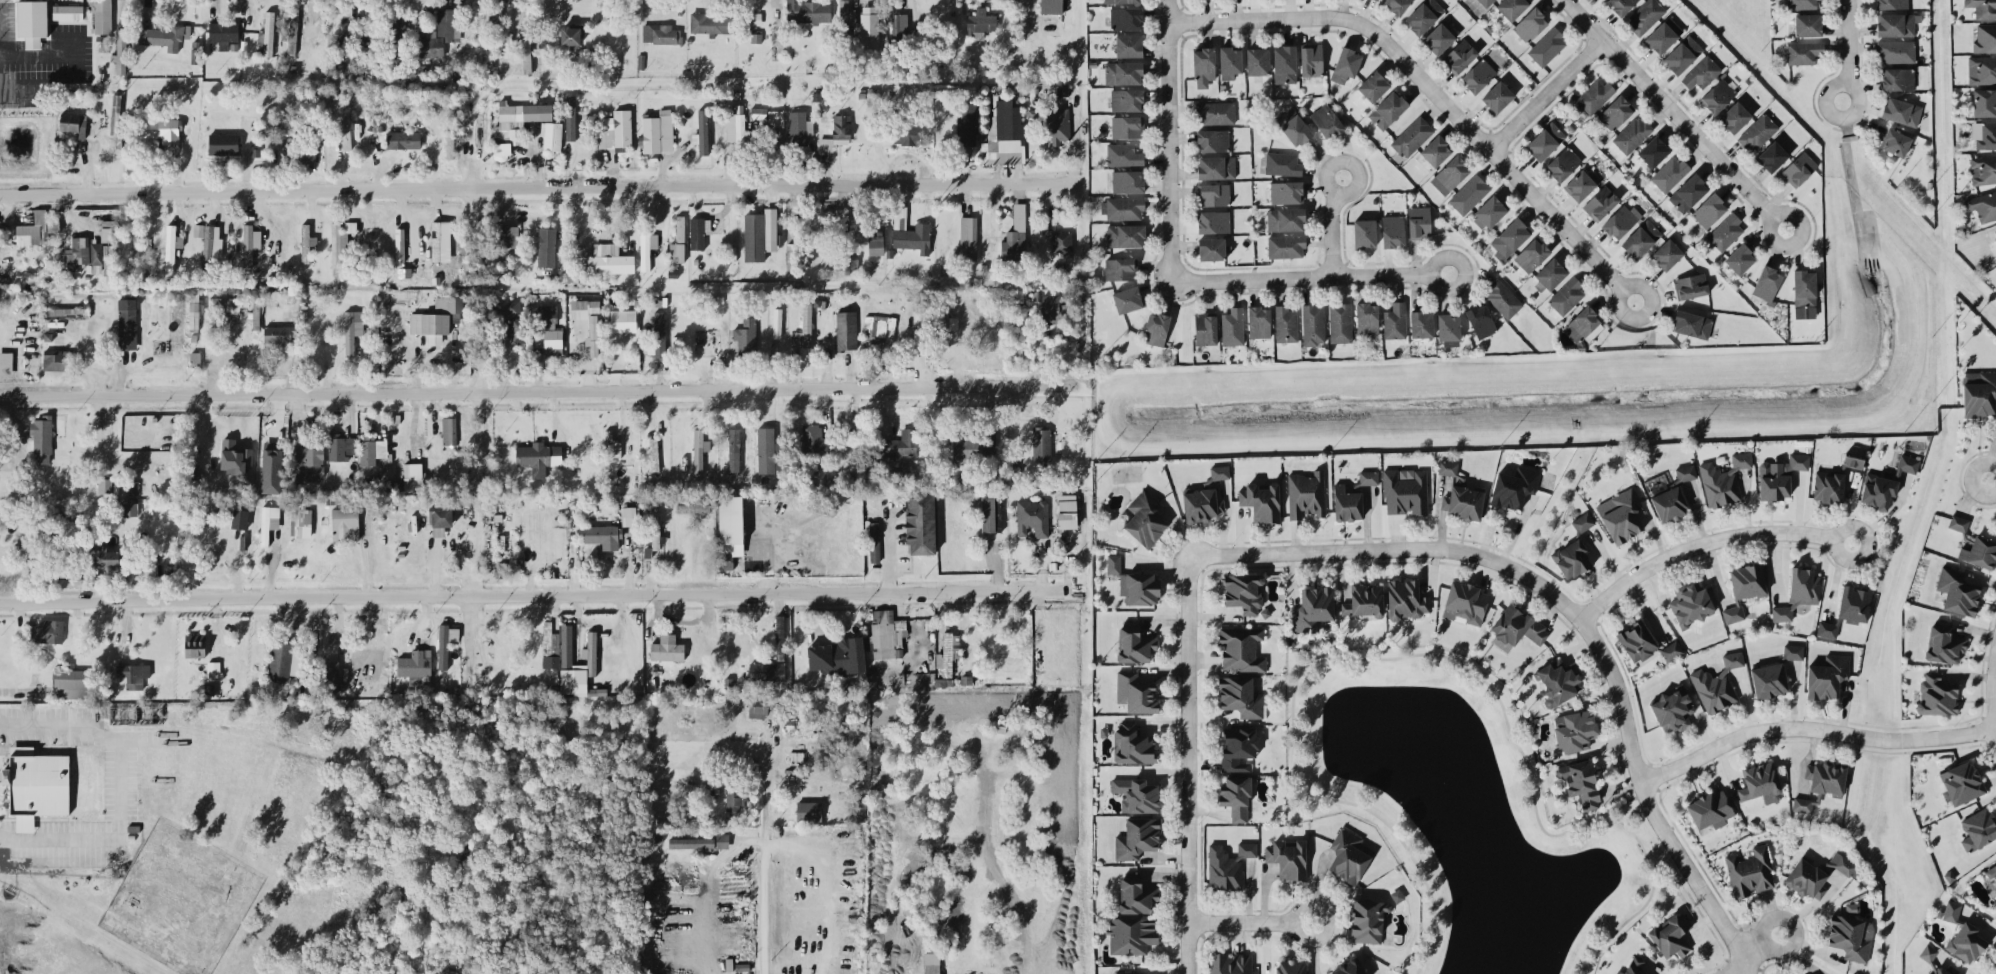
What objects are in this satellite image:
building: (1121, 1)
building: (1486, 2)
building: (1800, 4)
building: (1892, 4)
building: (1397, 5)
building: (1621, 5)
building: (1051, 6)
building: (1511, 7)
building: (1982, 8)
building: (69, 11)
building: (807, 11)
building: (495, 13)
building: (847, 13)
building: (1423, 15)
building: (102, 16)
building: (1645, 16)
building: (754, 17)
building: (1125, 18)
building: (32, 21)
building: (980, 21)
park: (1745, 22)
building: (708, 23)
building: (1896, 23)
building: (1530, 24)
building: (1807, 24)
building: (299, 25)
building: (899, 25)
building: (869, 27)
building: (268, 33)
building: (660, 33)
building: (437, 34)
building: (223, 35)
building: (571, 35)
building: (1663, 35)
building: (164, 36)
building: (394, 38)
building: (1438, 38)
building: (1985, 38)
building: (103, 42)
building: (1129, 45)
building: (1547, 46)
road: (1846, 50)
building: (120, 51)
building: (1895, 51)
building: (361, 52)
building: (1803, 52)
building: (1682, 54)
building: (1459, 56)
building: (1311, 59)
building: (1229, 61)
building: (1257, 61)
building: (1347, 61)
building: (1284, 63)
building: (1203, 66)
building: (1981, 69)
building: (1701, 72)
building: (1120, 73)
building: (1478, 75)
building: (1897, 78)
building: (1373, 85)
road: (1429, 93)
road: (1542, 95)
building: (1594, 95)
building: (1717, 95)
building: (1497, 96)
building: (1126, 99)
building: (1984, 102)
building: (1387, 109)
building: (1901, 111)
building: (758, 112)
building: (1215, 112)
building: (1615, 112)
road: (1673, 113)
building: (1734, 116)
building: (519, 118)
building: (1326, 120)
building: (361, 122)
building: (73, 123)
building: (966, 123)
building: (1293, 125)
building: (734, 126)
building: (840, 126)
building: (1126, 126)
building: (776, 127)
building: (798, 127)
building: (162, 128)
building: (615, 129)
building: (1054, 129)
building: (305, 131)
building: (657, 131)
building: (701, 132)
building: (1757, 132)
building: (345, 133)
building: (910, 133)
building: (1632, 134)
building: (552, 135)
building: (1004, 135)
building: (1984, 135)
building: (1412, 136)
building: (402, 139)
road: (1166, 140)
building: (1212, 140)
building: (1545, 140)
building: (1895, 141)
building: (223, 143)
building: (825, 144)
building: (502, 148)
building: (1435, 150)
building: (1653, 151)
building: (301, 154)
building: (1123, 154)
building: (1772, 156)
building: (1282, 163)
building: (1562, 163)
building: (1216, 167)
building: (1799, 168)
building: (1983, 169)
building: (1669, 173)
building: (1450, 174)
building: (1127, 181)
building: (1581, 184)
road: (539, 187)
building: (1286, 192)
building: (1688, 192)
building: (1213, 194)
building: (1469, 194)
building: (1600, 202)
building: (1983, 205)
building: (1122, 208)
building: (1709, 210)
building: (1488, 212)
building: (1285, 219)
building: (1620, 220)
building: (1213, 221)
building: (1419, 221)
building: (707, 225)
road: (1330, 225)
building: (38, 227)
building: (679, 228)
building: (108, 230)
building: (1392, 230)
building: (1995, 230)
building: (1725, 231)
building: (696, 232)
building: (1364, 232)
building: (759, 234)
building: (510, 235)
building: (911, 235)
building: (1015, 235)
building: (1125, 235)
building: (967, 237)
building: (1509, 238)
building: (1641, 238)
building: (435, 240)
building: (306, 241)
building: (1061, 241)
building: (208, 242)
building: (136, 243)
building: (249, 243)
building: (875, 243)
building: (339, 244)
building: (171, 245)
building: (546, 246)
building: (1286, 246)
building: (1211, 248)
building: (646, 249)
building: (77, 250)
building: (676, 251)
building: (1531, 254)
building: (1666, 254)
building: (102, 256)
building: (610, 258)
building: (1740, 258)
building: (1120, 268)
building: (1550, 273)
road: (1307, 276)
building: (1766, 283)
building: (1690, 285)
building: (1804, 288)
building: (1566, 295)
building: (1502, 298)
building: (1127, 299)
building: (231, 304)
building: (509, 307)
building: (583, 307)
building: (194, 308)
building: (1050, 308)
building: (65, 312)
building: (436, 318)
building: (1367, 318)
building: (622, 320)
building: (1395, 320)
building: (1480, 320)
building: (1259, 321)
building: (777, 322)
building: (1340, 322)
building: (127, 323)
building: (1285, 323)
building: (1421, 323)
building: (1691, 323)
building: (1313, 324)
building: (945, 325)
building: (1583, 325)
building: (1232, 326)
building: (924, 327)
building: (515, 328)
building: (804, 328)
building: (1156, 328)
building: (352, 329)
building: (846, 329)
building: (1205, 329)
building: (1449, 329)
building: (547, 330)
building: (879, 333)
building: (279, 335)
building: (592, 335)
building: (657, 336)
building: (745, 336)
building: (195, 358)
building: (57, 359)
building: (5, 363)
road: (536, 389)
building: (1978, 393)
building: (448, 430)
road: (14, 435)
building: (41, 438)
building: (813, 439)
building: (989, 441)
building: (1041, 443)
building: (900, 444)
building: (611, 445)
building: (341, 446)
building: (371, 449)
building: (699, 450)
building: (733, 450)
building: (964, 450)
building: (767, 451)
building: (653, 454)
building: (235, 456)
building: (538, 456)
building: (1852, 459)
building: (309, 462)
building: (1908, 463)
building: (271, 467)
building: (193, 470)
building: (902, 472)
building: (1219, 472)
building: (1685, 472)
building: (413, 476)
building: (1779, 476)
building: (1368, 477)
building: (1722, 480)
road: (1991, 482)
building: (104, 485)
building: (390, 486)
building: (1514, 486)
building: (1828, 486)
building: (1877, 490)
building: (1405, 492)
building: (1306, 493)
building: (1459, 493)
building: (1261, 501)
building: (1347, 503)
building: (1669, 504)
building: (1201, 505)
building: (692, 507)
building: (129, 508)
building: (1066, 510)
building: (987, 514)
building: (1621, 514)
building: (1032, 517)
building: (239, 518)
building: (1144, 518)
building: (440, 519)
building: (268, 522)
building: (300, 522)
building: (1582, 522)
building: (1958, 522)
building: (344, 523)
building: (730, 524)
building: (920, 524)
building: (52, 525)
building: (655, 532)
building: (603, 535)
building: (873, 541)
road: (1703, 541)
building: (1979, 552)
road: (1476, 557)
building: (1571, 558)
building: (102, 559)
building: (1113, 563)
building: (513, 569)
building: (1803, 585)
building: (1139, 587)
building: (1744, 588)
building: (1243, 591)
building: (1958, 591)
road: (538, 594)
building: (1405, 599)
building: (1364, 600)
building: (1691, 602)
building: (1465, 603)
building: (1853, 604)
building: (1312, 608)
building: (1781, 613)
building: (1516, 627)
building: (1826, 629)
building: (47, 631)
building: (886, 634)
building: (779, 637)
building: (549, 639)
building: (1636, 640)
building: (1134, 644)
building: (1945, 644)
building: (194, 645)
building: (443, 646)
building: (1241, 647)
building: (666, 648)
building: (1671, 650)
building: (1793, 651)
building: (948, 652)
road: (1416, 653)
building: (837, 656)
building: (280, 660)
building: (550, 661)
building: (414, 663)
building: (580, 668)
building: (212, 669)
building: (766, 670)
building: (133, 674)
building: (329, 675)
building: (1827, 676)
building: (1768, 679)
building: (1559, 681)
building: (73, 683)
building: (1716, 684)
road: (1989, 686)
building: (1136, 692)
building: (1936, 695)
building: (1240, 696)
building: (759, 706)
building: (1672, 709)
road: (51, 725)
road: (1809, 729)
building: (1575, 730)
building: (1132, 744)
building: (1238, 747)
road: (1185, 765)
building: (1826, 776)
building: (1760, 782)
building: (1961, 782)
building: (1579, 783)
building: (36, 784)
building: (1136, 794)
building: (1235, 796)
building: (734, 801)
road: (1623, 802)
building: (1802, 804)
building: (1710, 809)
building: (808, 810)
building: (1978, 829)
road: (63, 837)
building: (1137, 837)
building: (722, 840)
building: (691, 842)
building: (1349, 855)
road: (761, 858)
building: (1288, 858)
building: (1227, 864)
building: (1844, 864)
building: (1749, 872)
building: (1992, 873)
road: (1689, 876)
building: (1806, 878)
road: (705, 890)
building: (1136, 896)
building: (1951, 910)
road: (1697, 911)
building: (1369, 920)
road: (1248, 921)
building: (1132, 933)
building: (1850, 933)
building: (1671, 935)
road: (1756, 942)
building: (1965, 942)
building: (1927, 952)
building: (1231, 963)
building: (1291, 966)
building: (1633, 966)
building: (1348, 968)
road: (1731, 970)
road: (1737, 970)
building: (1945, 970)
building: (1127, 972)
road: (1995, 973)

